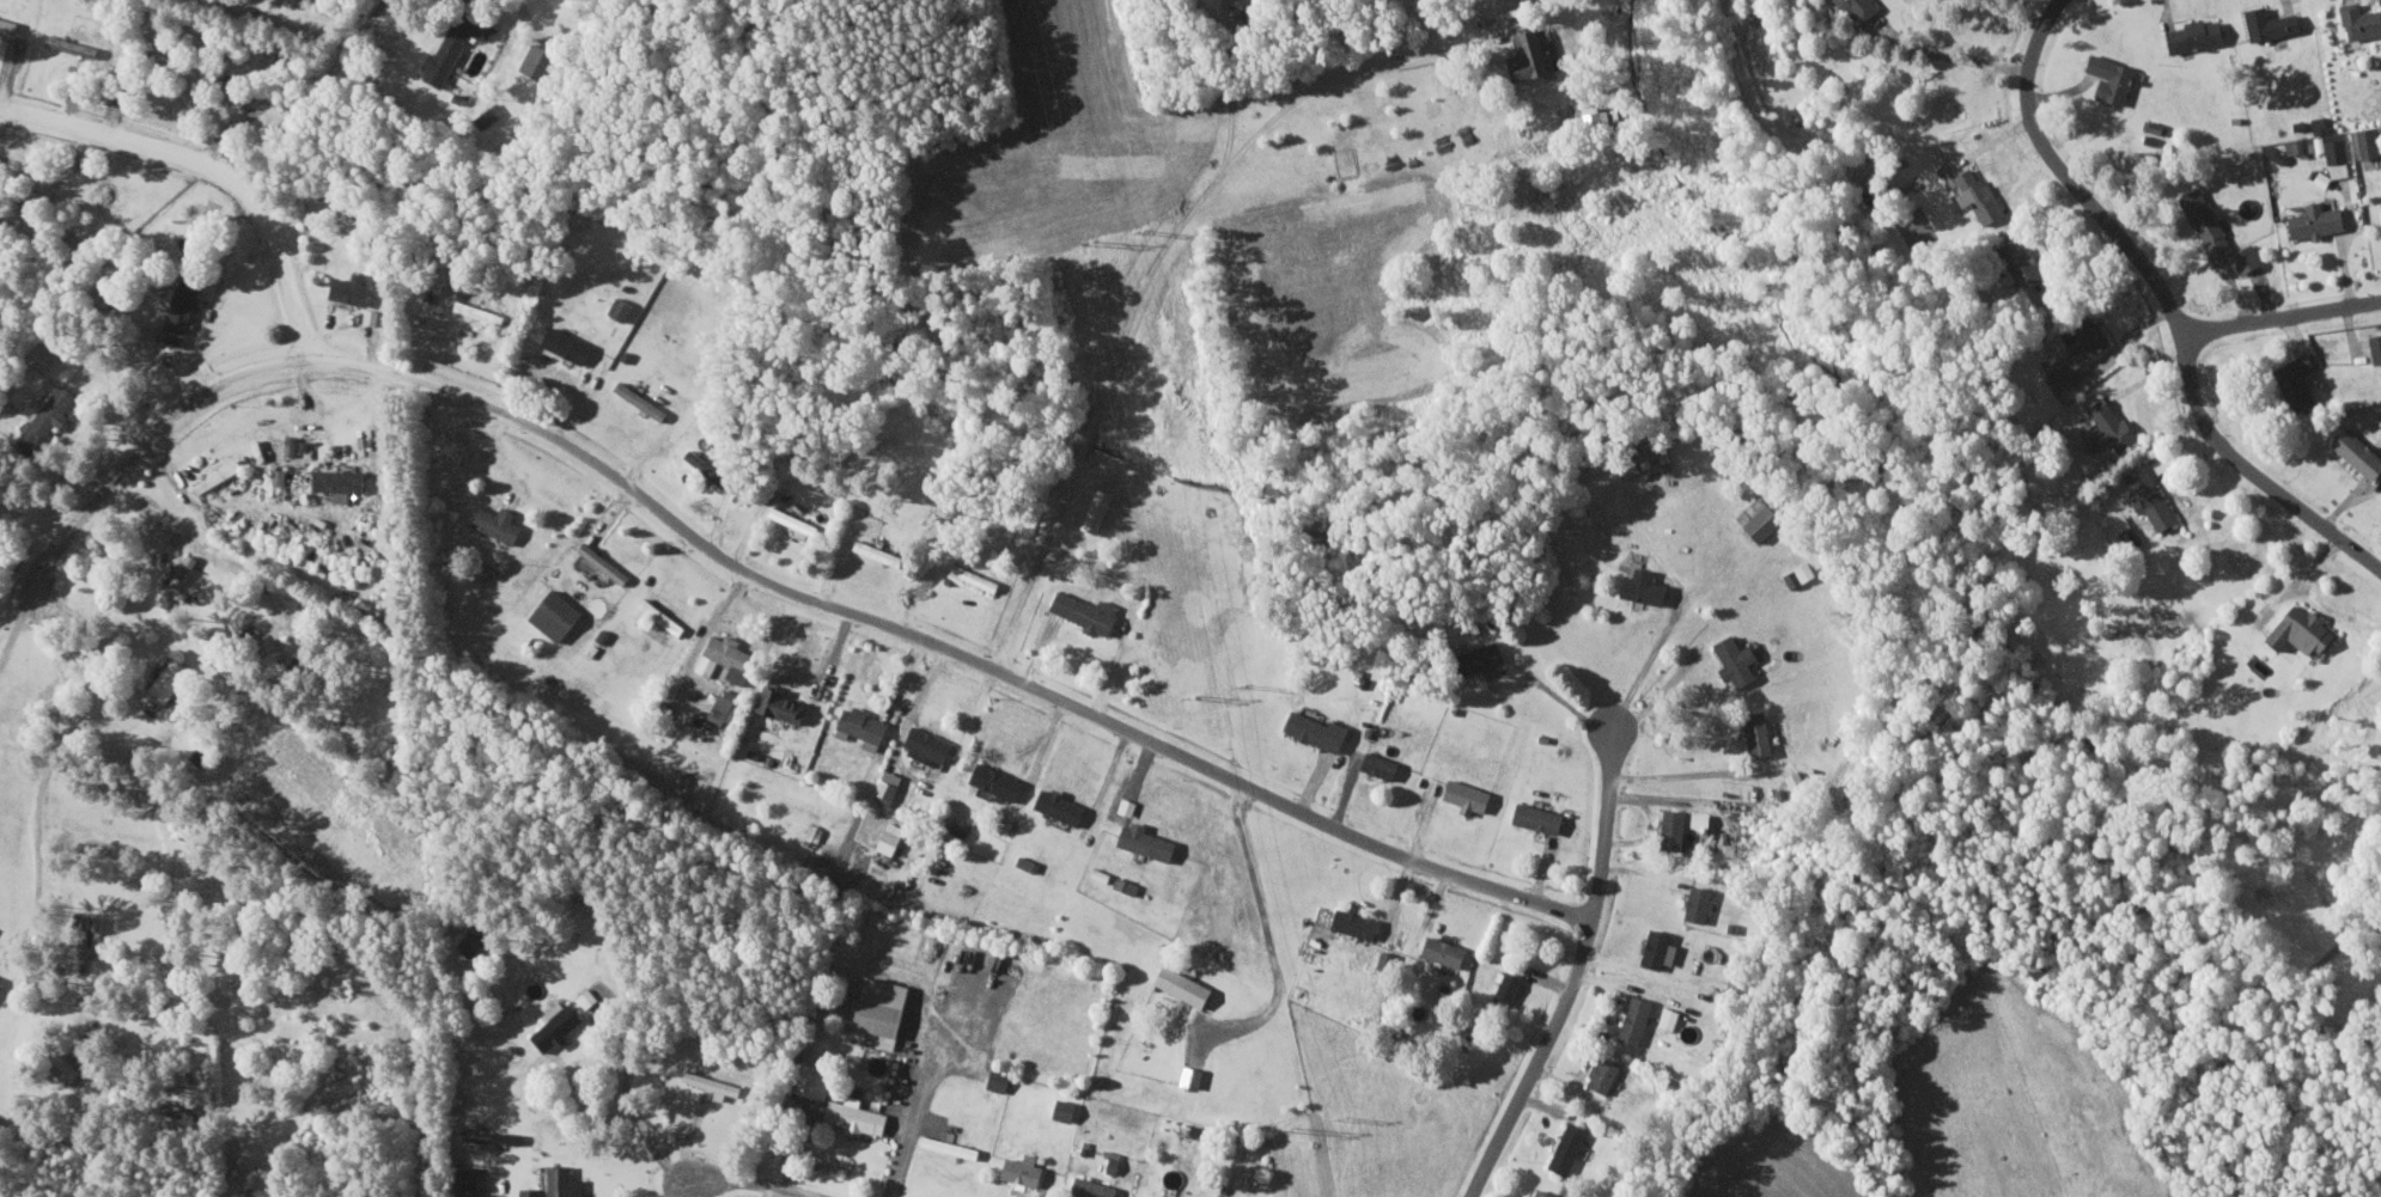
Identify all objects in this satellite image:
building: (2357, 20)
building: (2265, 23)
road: (1426, 28)
building: (2192, 33)
road: (1456, 41)
building: (455, 49)
building: (1533, 57)
building: (87, 59)
building: (543, 62)
building: (2106, 78)
building: (1595, 117)
building: (2319, 123)
building: (2364, 141)
building: (2336, 164)
road: (212, 166)
building: (1971, 191)
building: (2380, 203)
building: (2200, 220)
building: (2310, 220)
power tower: (1144, 231)
power tower: (1100, 240)
building: (2242, 256)
building: (2011, 258)
building: (354, 287)
road: (2164, 303)
building: (185, 305)
building: (622, 306)
building: (482, 311)
road: (1129, 311)
road: (2278, 319)
building: (2078, 332)
building: (570, 343)
building: (2374, 346)
building: (2053, 375)
building: (2290, 380)
building: (49, 416)
building: (2105, 423)
building: (292, 444)
building: (2353, 452)
building: (280, 475)
building: (342, 482)
building: (2145, 496)
building: (1100, 508)
building: (796, 519)
building: (1767, 520)
building: (499, 521)
building: (879, 551)
building: (342, 560)
building: (604, 562)
building: (365, 570)
building: (179, 579)
road: (754, 582)
building: (1648, 586)
building: (1089, 611)
building: (559, 613)
building: (663, 615)
road: (16, 629)
building: (2294, 629)
building: (1488, 653)
building: (729, 656)
building: (302, 659)
building: (1740, 659)
road: (1646, 662)
building: (171, 678)
power tower: (1244, 685)
power tower: (1196, 698)
building: (784, 702)
building: (726, 704)
building: (865, 726)
road: (116, 729)
building: (1320, 729)
building: (1762, 733)
building: (930, 745)
building: (1384, 765)
building: (999, 781)
building: (1796, 781)
building: (890, 786)
building: (1472, 794)
building: (1062, 806)
building: (1123, 808)
building: (1542, 817)
building: (1703, 818)
building: (1675, 832)
building: (893, 837)
building: (1150, 841)
building: (1701, 903)
building: (1359, 922)
building: (93, 934)
building: (479, 942)
building: (1662, 948)
building: (1447, 949)
building: (1389, 959)
building: (38, 975)
road: (1571, 975)
building: (1, 981)
building: (1187, 985)
building: (1509, 987)
building: (1743, 988)
building: (589, 997)
building: (882, 1008)
building: (1670, 1016)
building: (1638, 1019)
building: (560, 1026)
building: (1606, 1074)
building: (1195, 1075)
building: (1001, 1080)
building: (715, 1083)
road: (922, 1083)
building: (1067, 1110)
power tower: (1339, 1114)
building: (859, 1117)
power tower: (1293, 1130)
building: (951, 1146)
building: (1571, 1148)
building: (1027, 1169)
road: (749, 1181)
building: (467, 1183)
building: (559, 1183)
building: (1096, 1187)
road: (665, 1189)
building: (260, 1191)
building: (1547, 1193)

